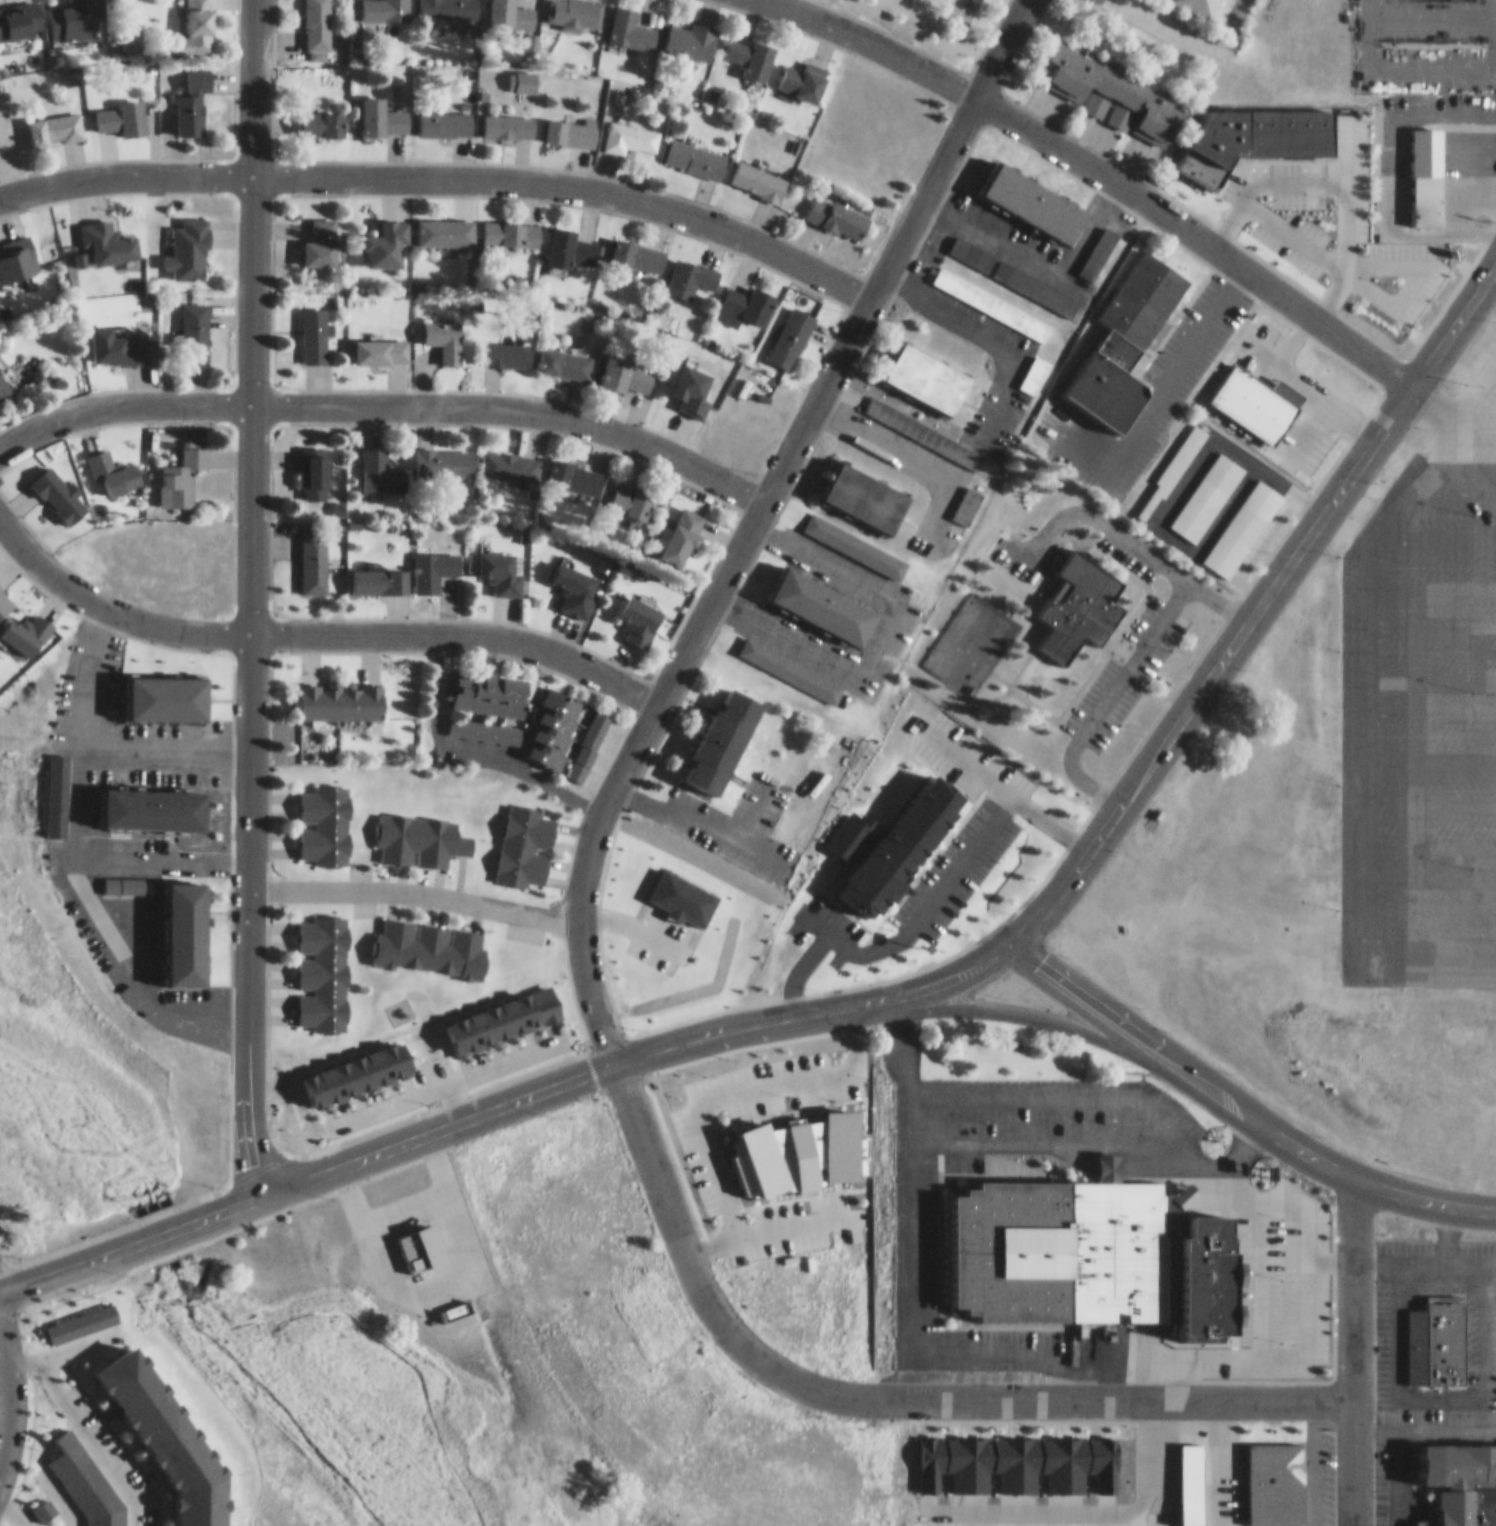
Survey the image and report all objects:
building: (1207, 3)
building: (448, 4)
building: (385, 5)
building: (574, 8)
building: (513, 9)
road: (1234, 9)
road: (1430, 12)
building: (20, 13)
building: (73, 14)
building: (317, 21)
building: (632, 21)
building: (201, 22)
building: (690, 31)
building: (751, 49)
road: (1430, 58)
building: (805, 72)
building: (1109, 81)
building: (194, 93)
building: (384, 108)
building: (123, 109)
building: (446, 114)
building: (326, 115)
building: (510, 117)
building: (56, 120)
building: (571, 124)
building: (630, 129)
building: (696, 150)
road: (444, 168)
road: (1107, 168)
building: (759, 172)
building: (1414, 190)
building: (1038, 192)
building: (847, 210)
building: (446, 223)
building: (513, 225)
building: (110, 233)
building: (322, 234)
building: (388, 235)
building: (189, 241)
building: (571, 242)
building: (971, 245)
building: (638, 246)
building: (18, 249)
road: (1039, 255)
building: (1003, 262)
building: (690, 269)
building: (1144, 290)
building: (991, 295)
building: (745, 296)
building: (195, 323)
building: (315, 325)
road: (1186, 325)
building: (793, 326)
road: (996, 327)
building: (445, 330)
building: (118, 337)
building: (382, 341)
parking lot: (1167, 341)
building: (507, 345)
building: (566, 353)
road: (1492, 360)
building: (629, 365)
building: (1035, 365)
parking lot: (1018, 366)
building: (931, 368)
building: (4, 376)
road: (1471, 379)
building: (1259, 384)
road: (385, 396)
road: (1475, 401)
parking lot: (1320, 405)
road: (1308, 414)
road: (1474, 442)
road: (914, 449)
building: (444, 453)
building: (511, 456)
building: (115, 463)
building: (316, 463)
building: (381, 463)
building: (1171, 464)
building: (183, 467)
building: (576, 468)
road: (1457, 484)
building: (61, 486)
building: (870, 489)
building: (634, 493)
building: (969, 496)
road: (748, 516)
building: (684, 528)
road: (1127, 532)
road: (1438, 532)
building: (856, 537)
parking lot: (1126, 547)
building: (314, 549)
building: (434, 561)
building: (501, 563)
building: (378, 572)
road: (1429, 578)
parking lot: (893, 593)
road: (1261, 593)
road: (251, 594)
building: (821, 594)
building: (1081, 595)
road: (109, 602)
building: (641, 612)
road: (1429, 620)
road: (459, 628)
road: (878, 629)
park: (969, 634)
road: (1429, 661)
building: (793, 663)
parking lot: (1124, 665)
building: (492, 684)
building: (172, 689)
road: (1105, 689)
road: (975, 690)
building: (343, 692)
road: (1429, 704)
parking lot: (1422, 705)
road: (1363, 712)
building: (554, 719)
building: (503, 725)
building: (725, 731)
building: (589, 737)
road: (167, 741)
road: (466, 742)
road: (1429, 750)
road: (1004, 779)
building: (57, 786)
road: (1429, 796)
building: (158, 800)
road: (753, 804)
road: (82, 807)
road: (703, 814)
building: (325, 815)
parking lot: (739, 815)
parking lot: (961, 817)
parking lot: (129, 820)
building: (420, 830)
building: (880, 835)
road: (1429, 836)
building: (526, 837)
road: (1429, 879)
road: (414, 883)
road: (920, 905)
road: (1429, 919)
parking lot: (825, 920)
building: (191, 925)
building: (431, 939)
road: (796, 962)
building: (323, 964)
road: (130, 969)
road: (816, 1003)
road: (1007, 1003)
building: (504, 1012)
building: (360, 1066)
building: (820, 1067)
parking lot: (443, 1078)
road: (440, 1080)
road: (1057, 1086)
road: (454, 1095)
road: (1236, 1101)
road: (1048, 1135)
road: (398, 1136)
road: (854, 1196)
road: (162, 1225)
building: (278, 1230)
building: (1092, 1247)
road: (69, 1257)
road: (1302, 1276)
road: (1262, 1321)
building: (1427, 1333)
road: (904, 1334)
road: (1352, 1349)
road: (12, 1390)
road: (883, 1391)
road: (1424, 1423)
road: (843, 1454)
road: (1401, 1474)
building: (1210, 1478)
building: (1457, 1478)
building: (1274, 1479)

